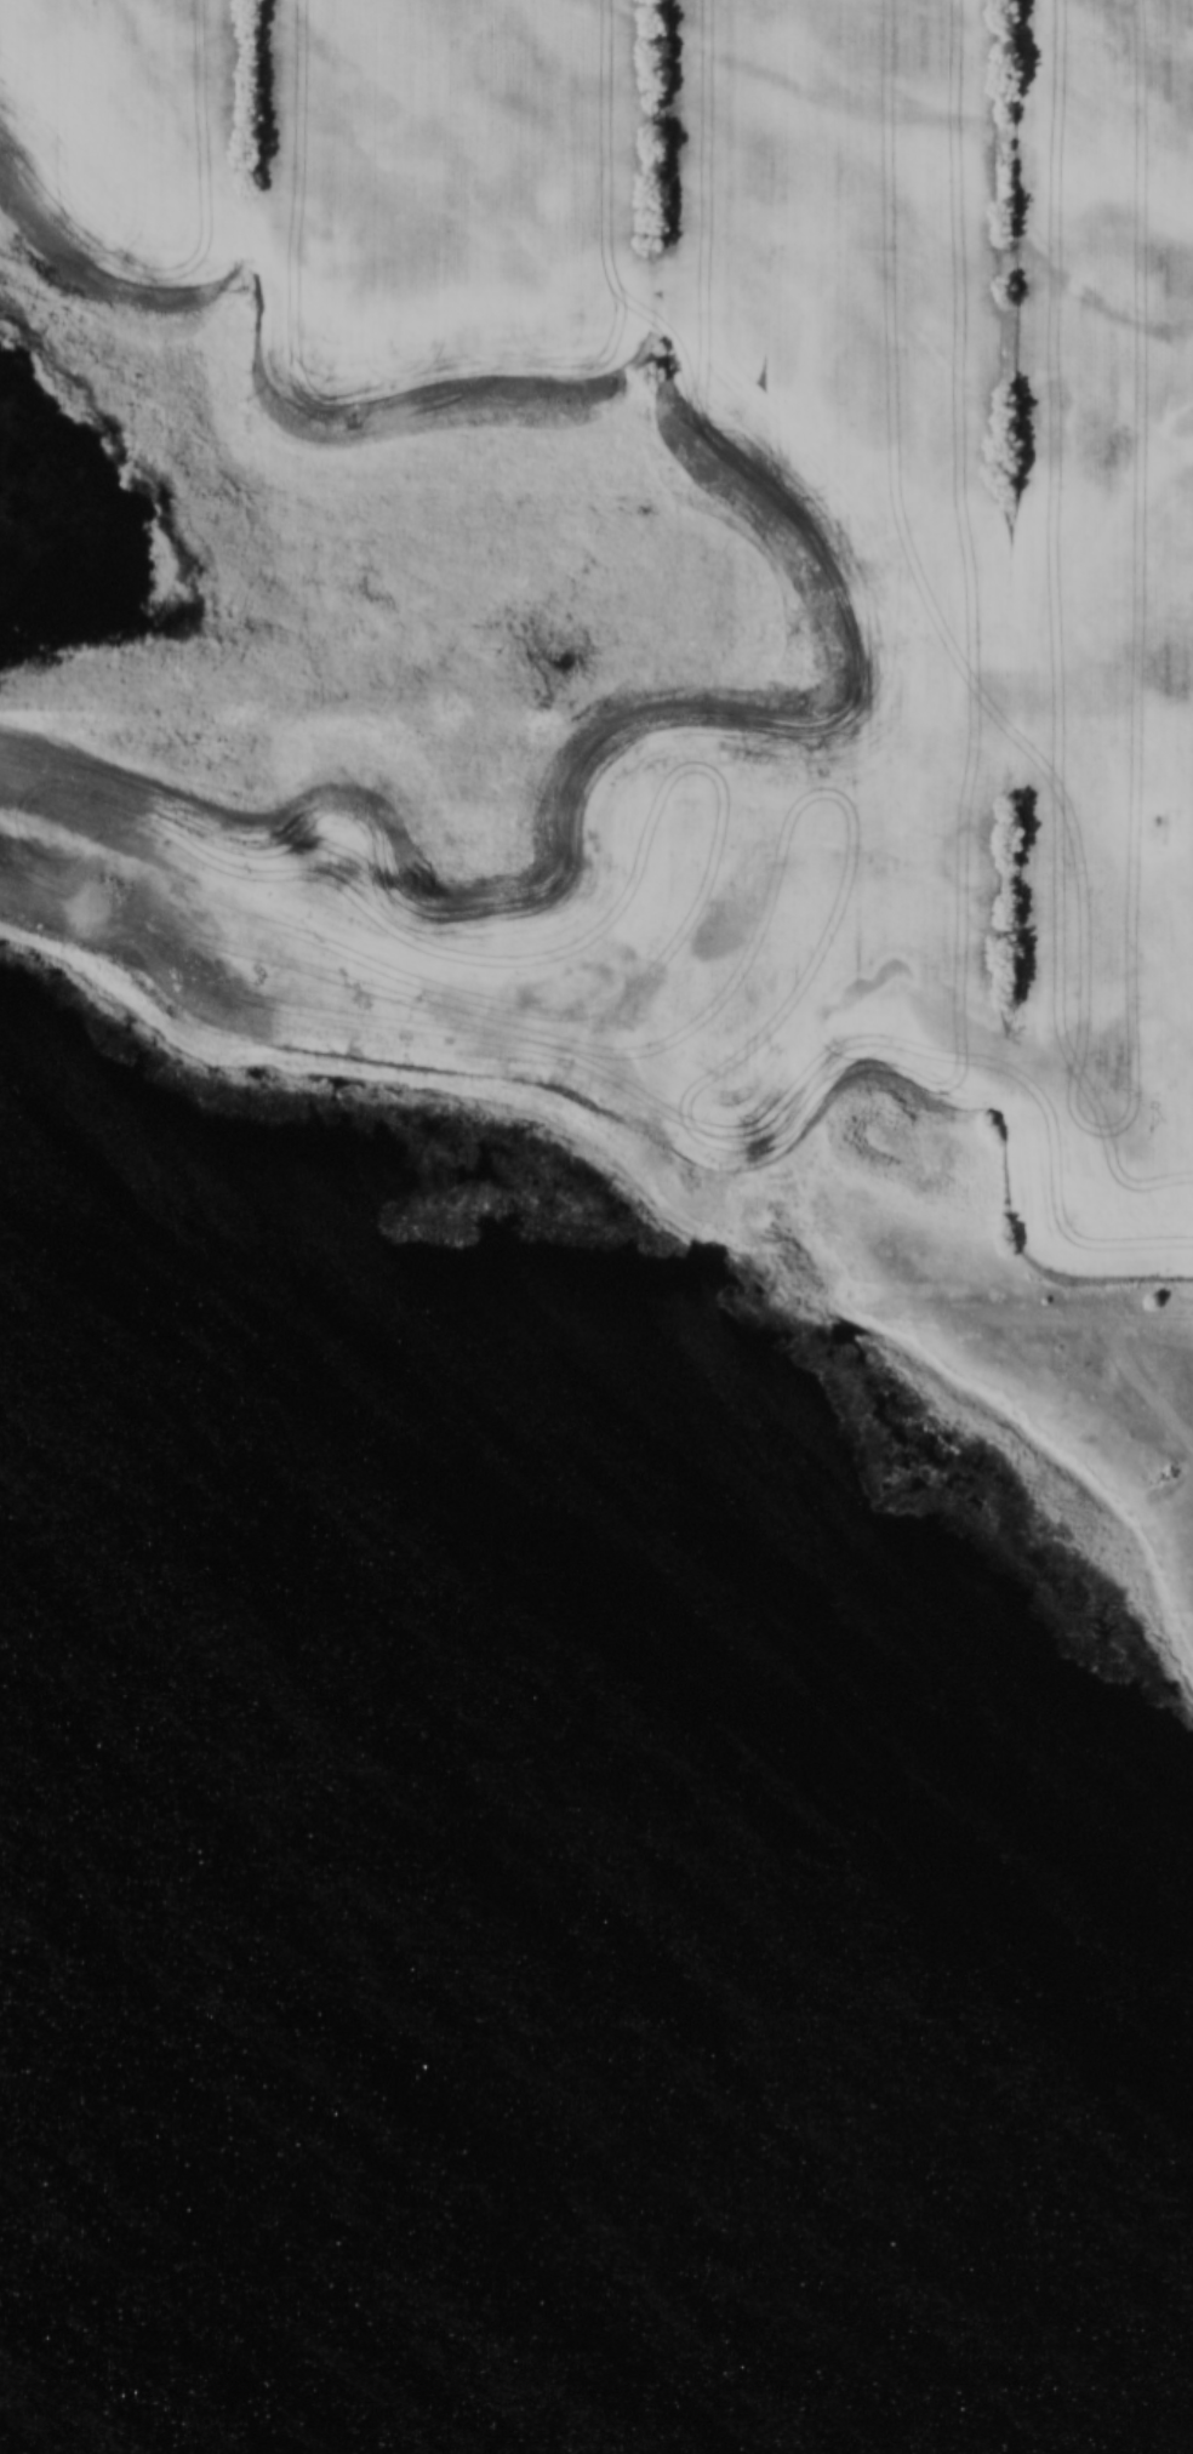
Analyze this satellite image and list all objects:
road: (1101, 1316)
road: (1155, 1382)

